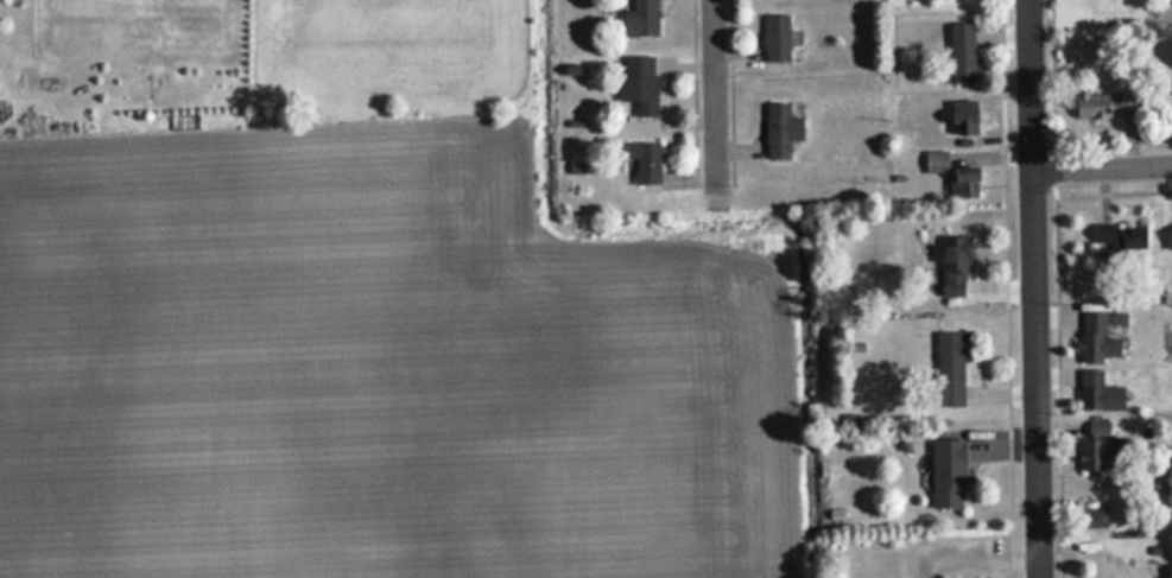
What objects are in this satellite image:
building: (639, 19)
building: (775, 39)
building: (962, 52)
building: (639, 83)
building: (33, 85)
road: (701, 90)
road: (737, 91)
road: (720, 95)
building: (1103, 106)
building: (780, 129)
building: (936, 161)
building: (642, 163)
road: (1101, 169)
building: (963, 184)
road: (1111, 193)
building: (1168, 237)
building: (1119, 239)
building: (954, 265)
road: (1014, 288)
road: (1032, 288)
road: (1065, 288)
building: (1095, 338)
building: (948, 371)
building: (1097, 393)
building: (1097, 430)
building: (1098, 452)
building: (946, 475)
building: (1095, 515)

